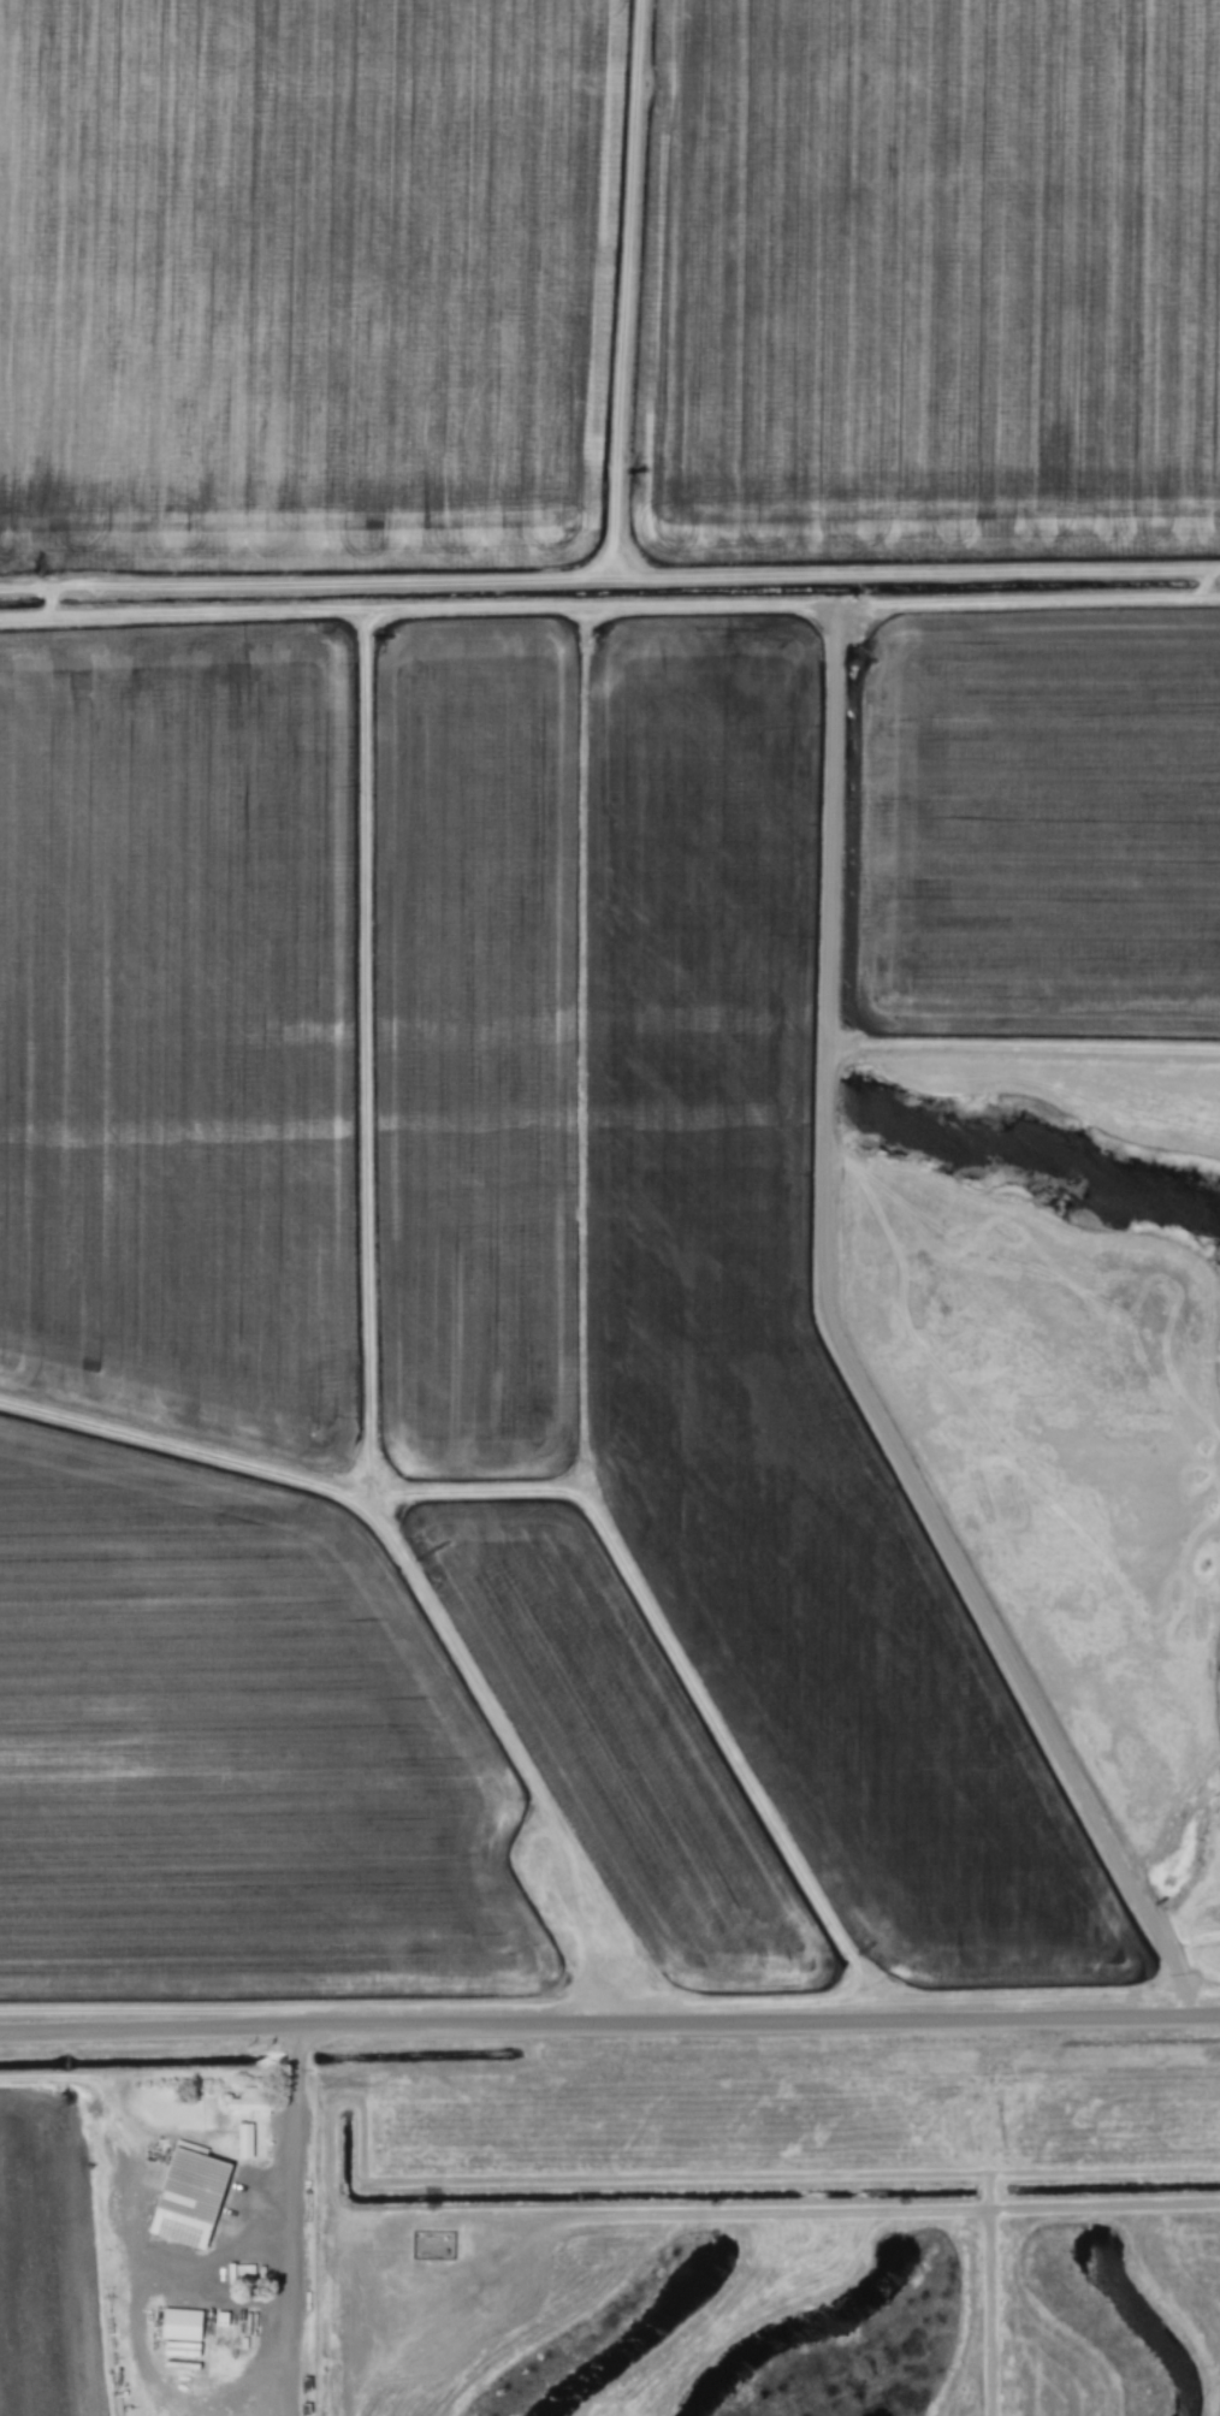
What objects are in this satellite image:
road: (609, 2029)
building: (251, 2100)
building: (244, 2139)
road: (289, 2181)
building: (191, 2196)
road: (840, 2210)
building: (182, 2331)

